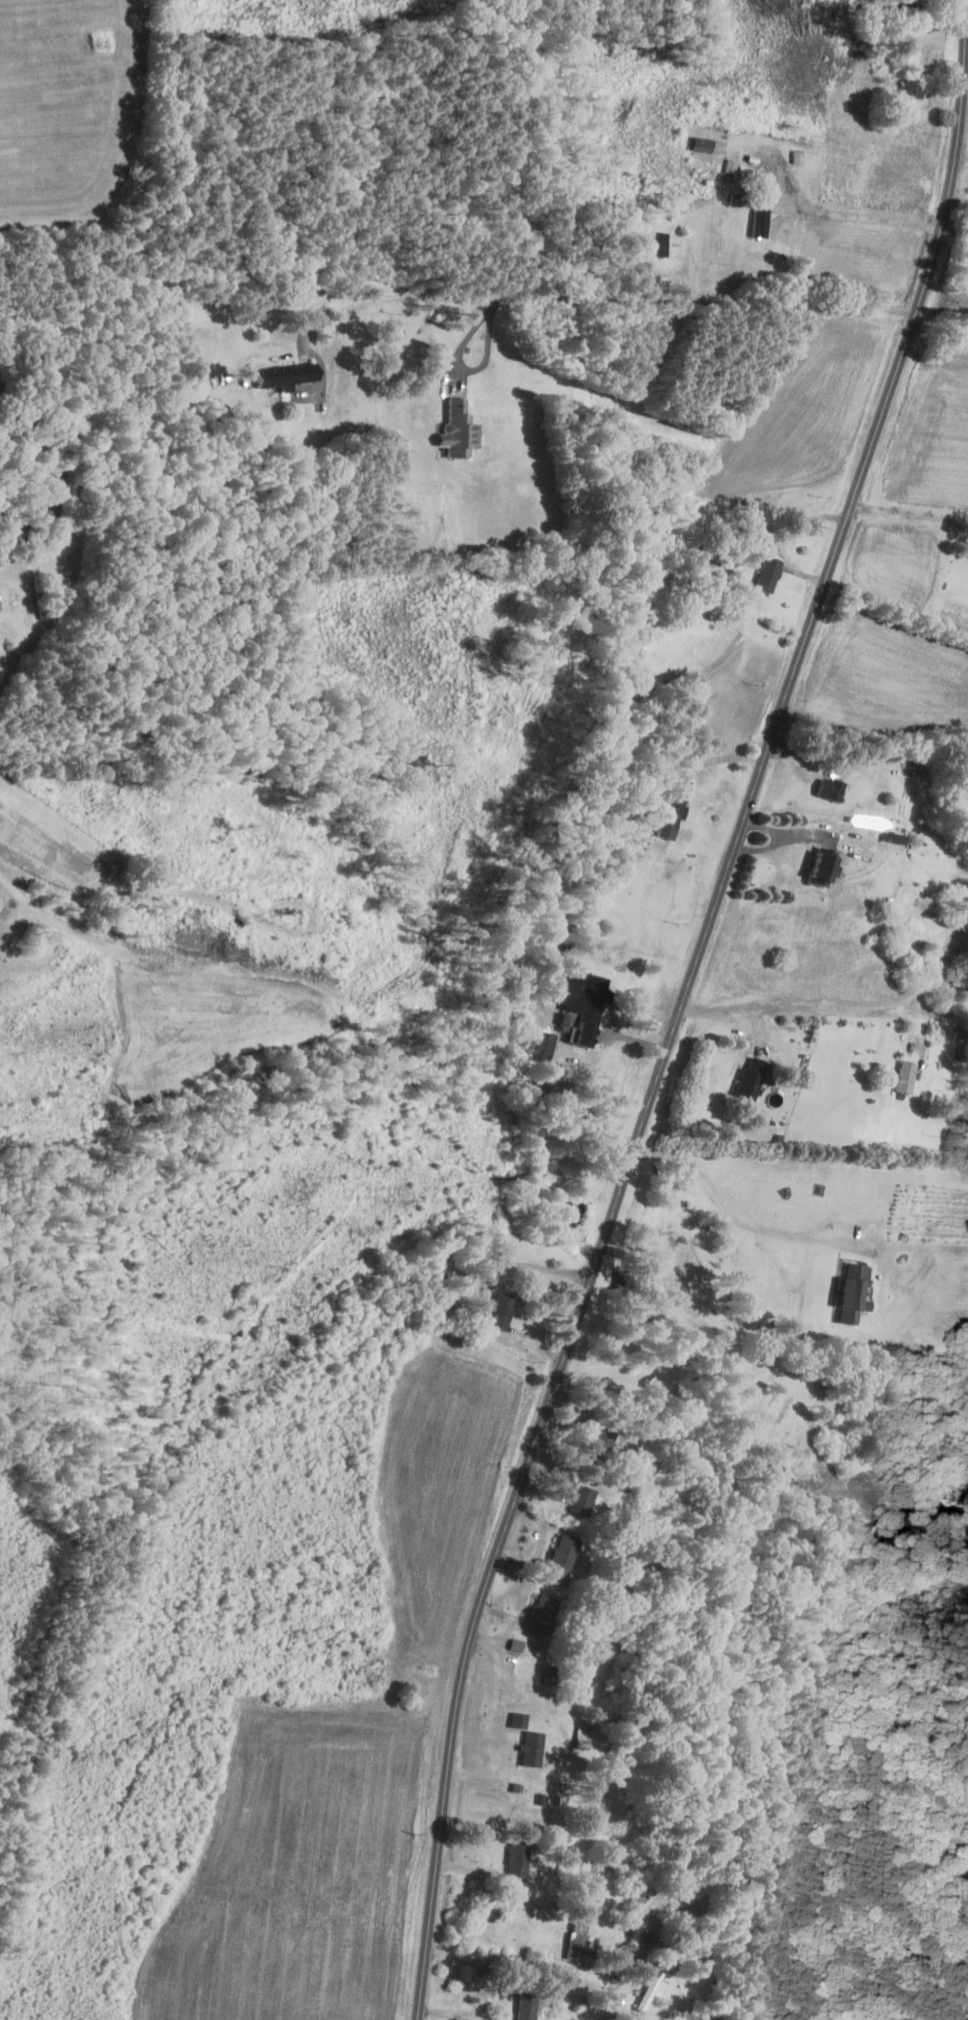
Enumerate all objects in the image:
building: (903, 5)
building: (909, 87)
building: (796, 155)
road: (958, 198)
road: (864, 216)
building: (759, 219)
building: (658, 243)
road: (528, 295)
road: (784, 301)
road: (310, 354)
road: (459, 361)
building: (286, 375)
building: (456, 430)
road: (911, 513)
building: (766, 574)
building: (828, 789)
building: (671, 808)
building: (821, 870)
road: (942, 965)
building: (580, 998)
road: (795, 1004)
road: (683, 1006)
road: (938, 1011)
building: (563, 1018)
building: (903, 1076)
building: (747, 1083)
road: (733, 1216)
building: (852, 1292)
building: (500, 1309)
building: (599, 1441)
building: (579, 1499)
building: (560, 1557)
building: (539, 1615)
building: (514, 1644)
building: (516, 1720)
building: (529, 1748)
building: (515, 1859)
building: (579, 1946)
road: (520, 1965)
building: (650, 1988)
building: (525, 2006)

